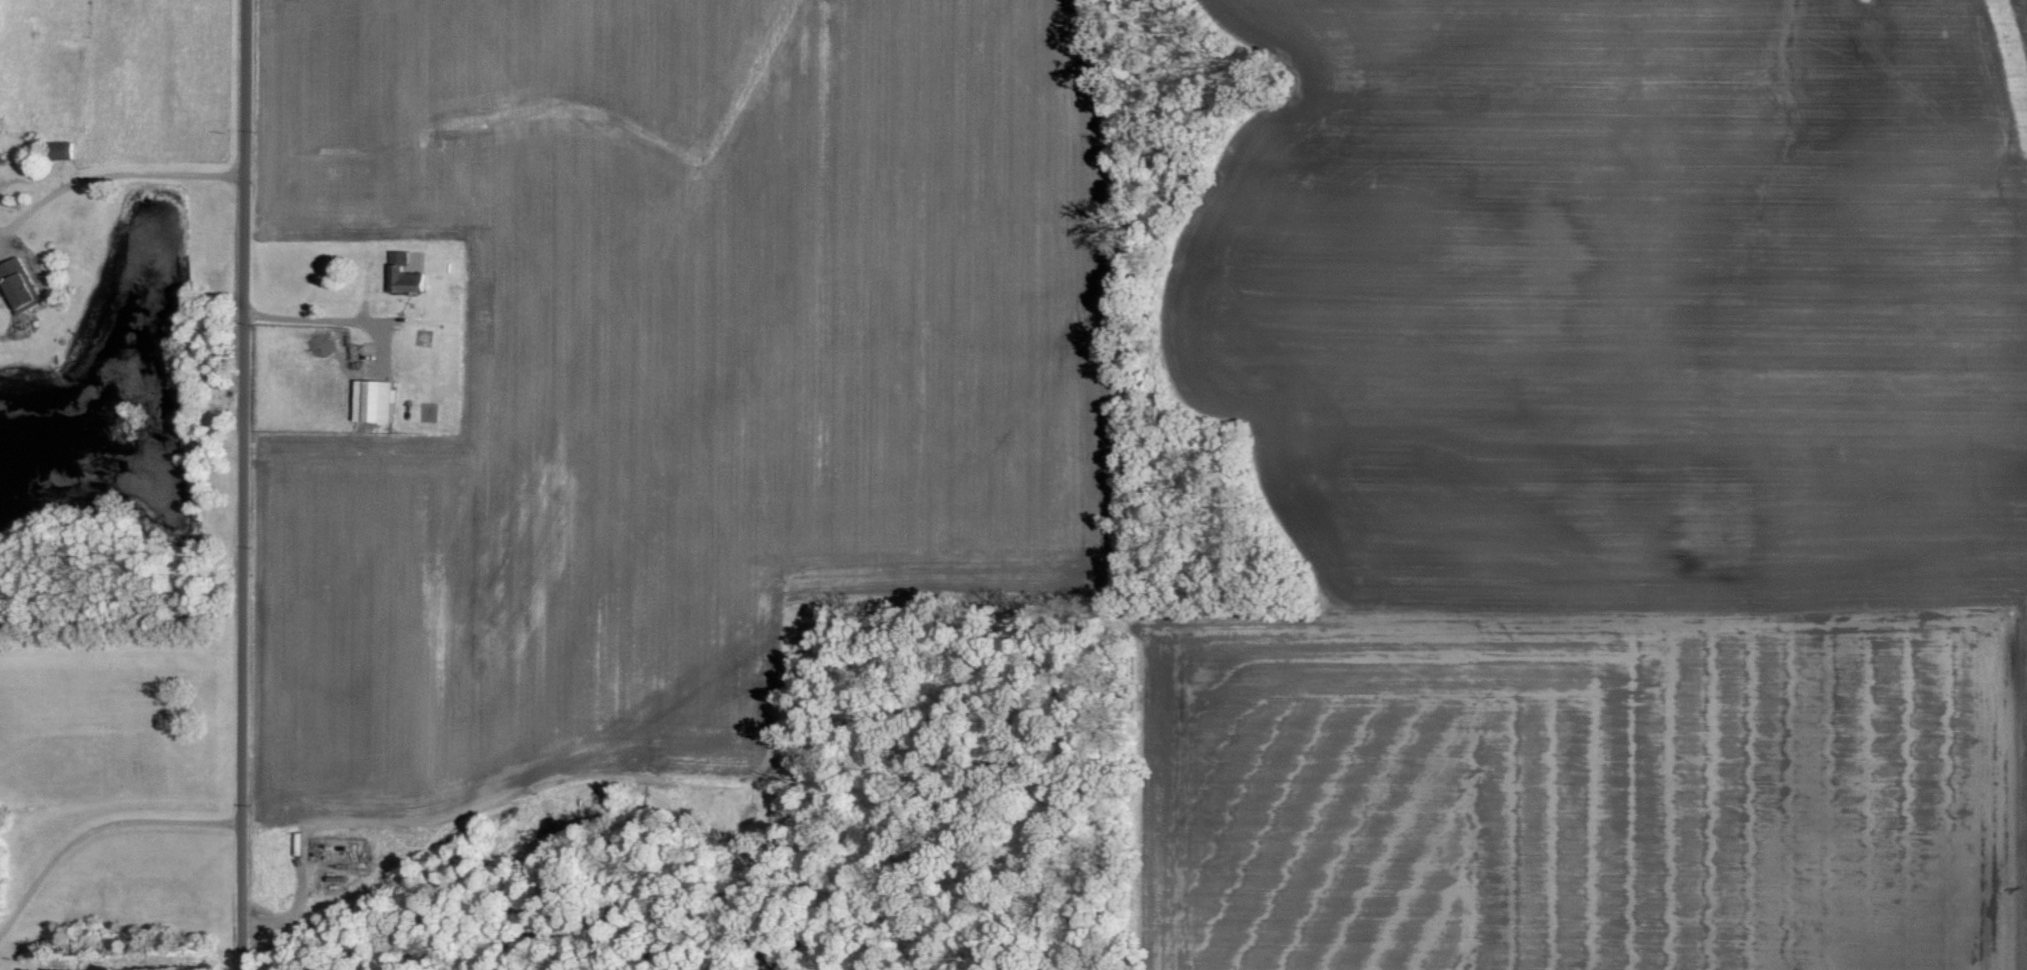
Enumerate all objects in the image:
building: (70, 151)
building: (409, 275)
building: (24, 286)
building: (382, 402)
road: (245, 485)

